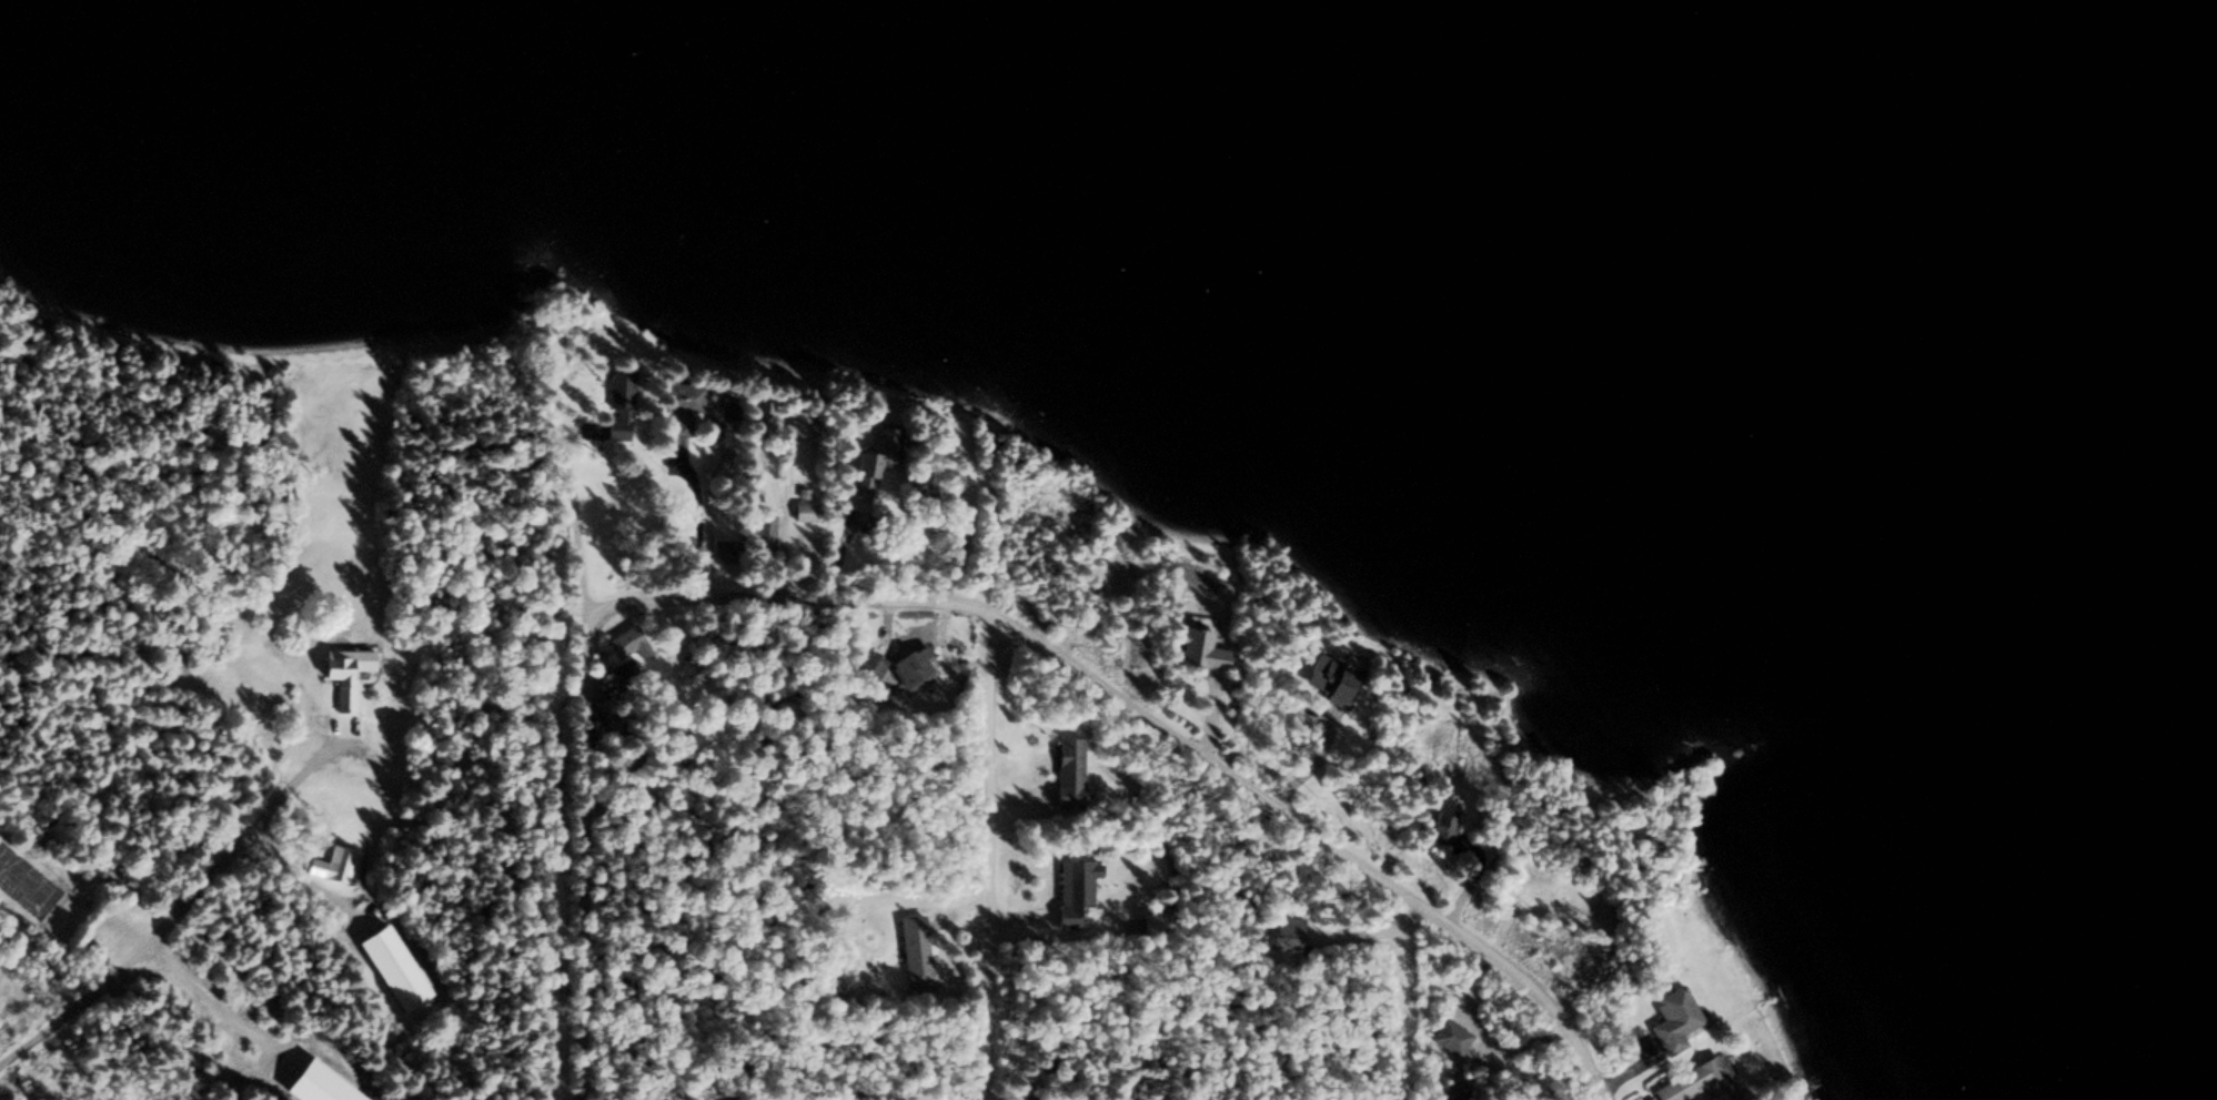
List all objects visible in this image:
building: (618, 384)
building: (684, 401)
building: (796, 426)
building: (615, 427)
building: (870, 462)
building: (802, 512)
building: (762, 527)
building: (622, 640)
building: (1197, 648)
building: (910, 664)
building: (623, 666)
building: (868, 666)
building: (342, 670)
building: (1328, 678)
road: (1153, 719)
building: (1067, 769)
road: (989, 788)
building: (1442, 811)
road: (582, 860)
building: (333, 862)
park: (26, 882)
building: (1070, 889)
building: (804, 897)
road: (171, 912)
building: (1153, 921)
building: (1280, 930)
building: (910, 950)
building: (1673, 1013)
building: (1449, 1036)
building: (1696, 1083)

